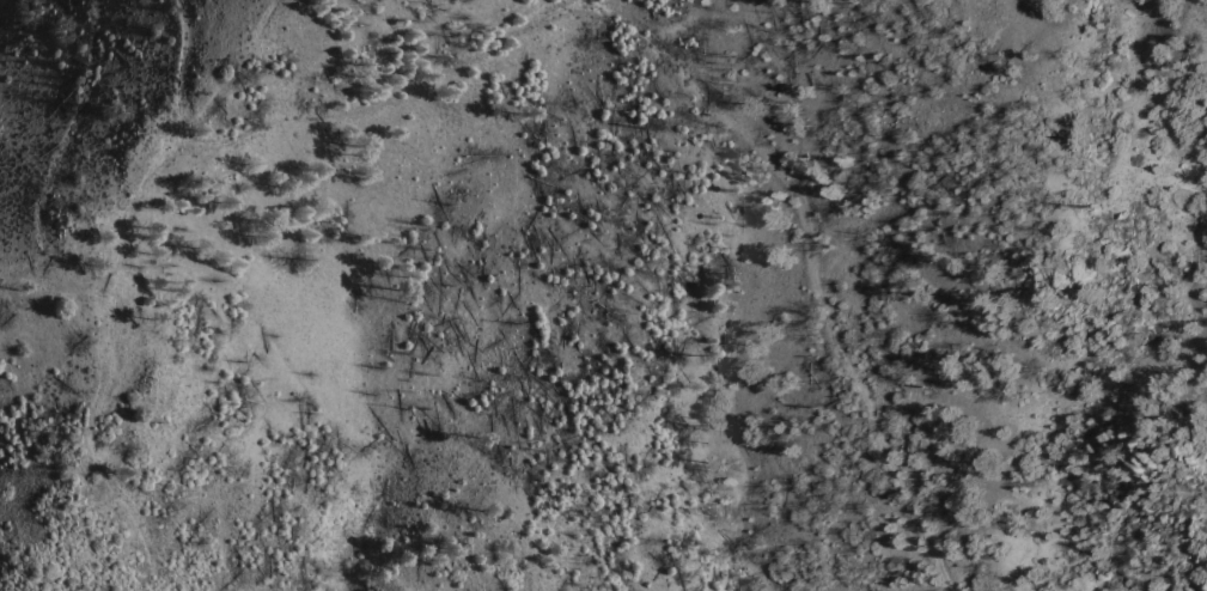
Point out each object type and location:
road: (646, 42)
road: (234, 71)
road: (743, 562)

